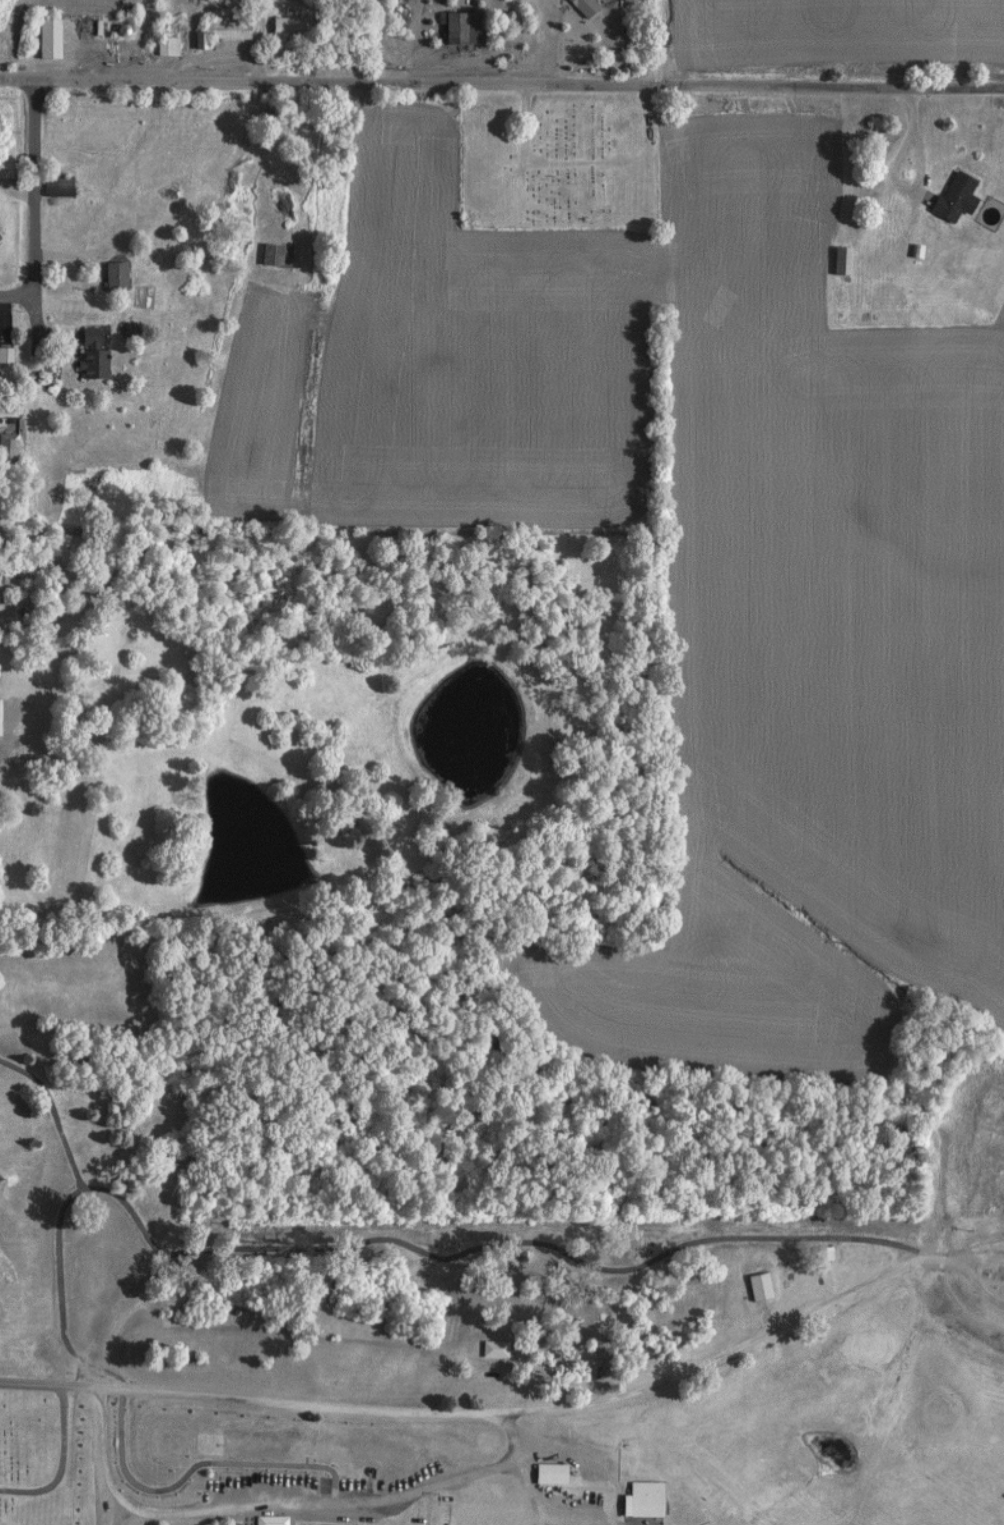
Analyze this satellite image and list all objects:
building: (578, 7)
building: (282, 28)
building: (454, 29)
building: (221, 30)
building: (42, 39)
road: (428, 42)
road: (541, 43)
road: (659, 44)
building: (161, 47)
road: (77, 79)
road: (578, 89)
road: (917, 109)
building: (2, 171)
road: (921, 173)
road: (36, 181)
building: (51, 187)
building: (949, 199)
building: (270, 256)
building: (835, 261)
building: (108, 276)
road: (19, 297)
building: (2, 355)
building: (85, 355)
building: (4, 446)
road: (54, 1114)
road: (378, 1241)
road: (982, 1253)
building: (818, 1254)
building: (997, 1274)
road: (976, 1284)
building: (753, 1287)
building: (489, 1349)
road: (711, 1368)
road: (221, 1403)
building: (204, 1444)
road: (62, 1463)
building: (639, 1500)
building: (265, 1520)
road: (288, 1521)

